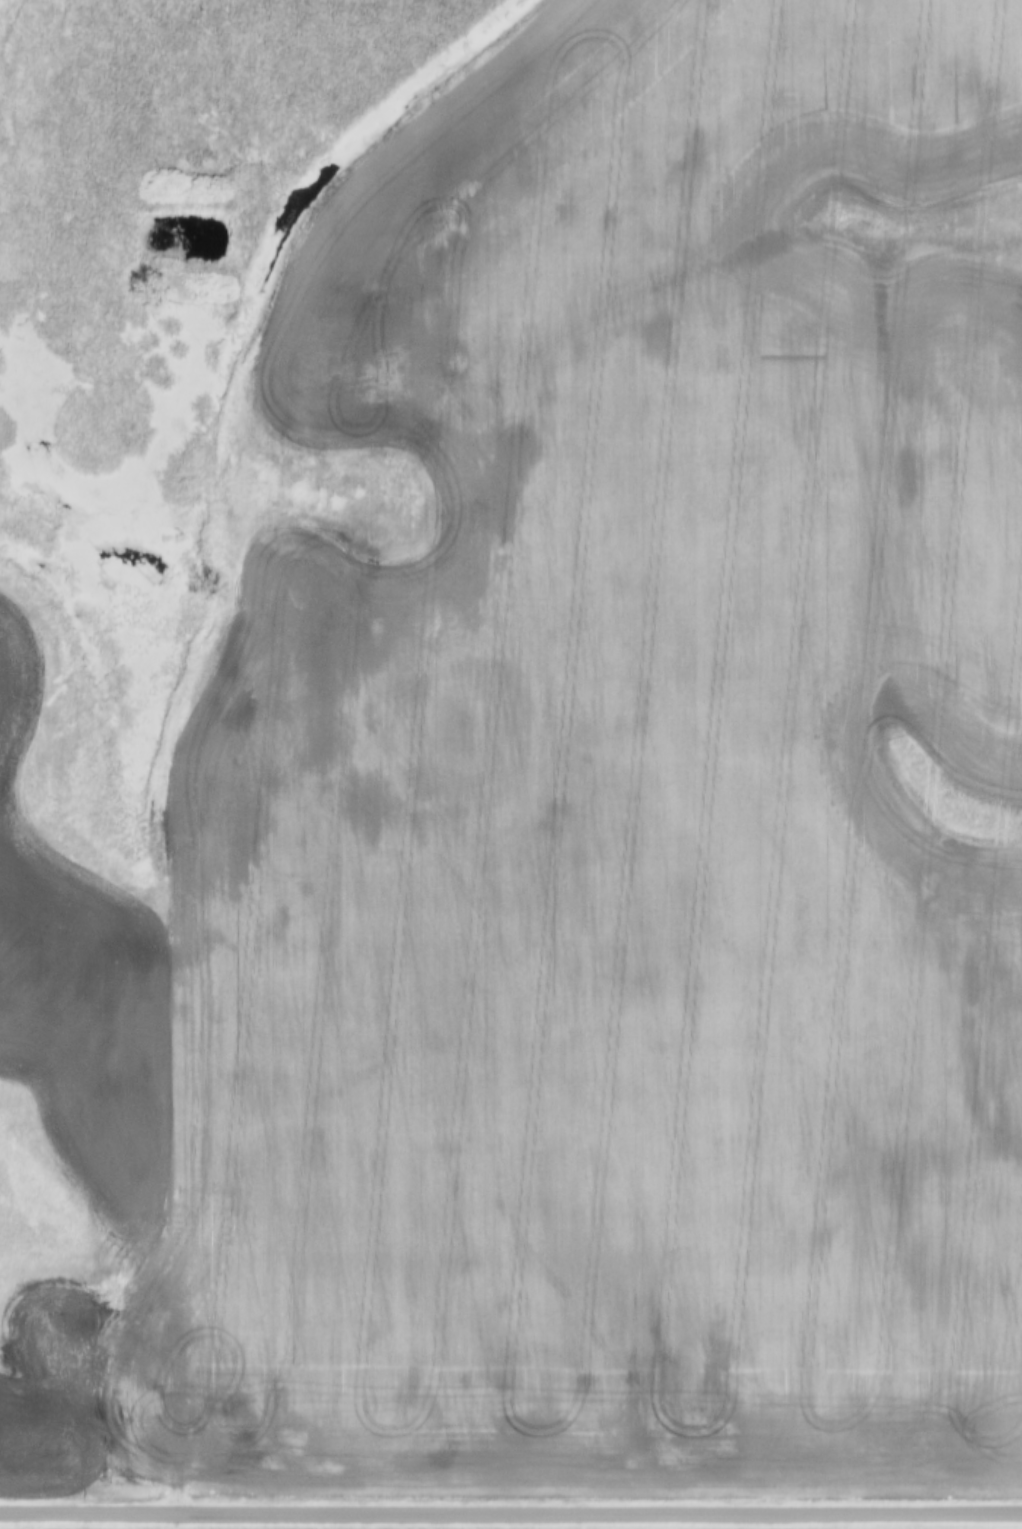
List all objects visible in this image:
road: (511, 1511)

